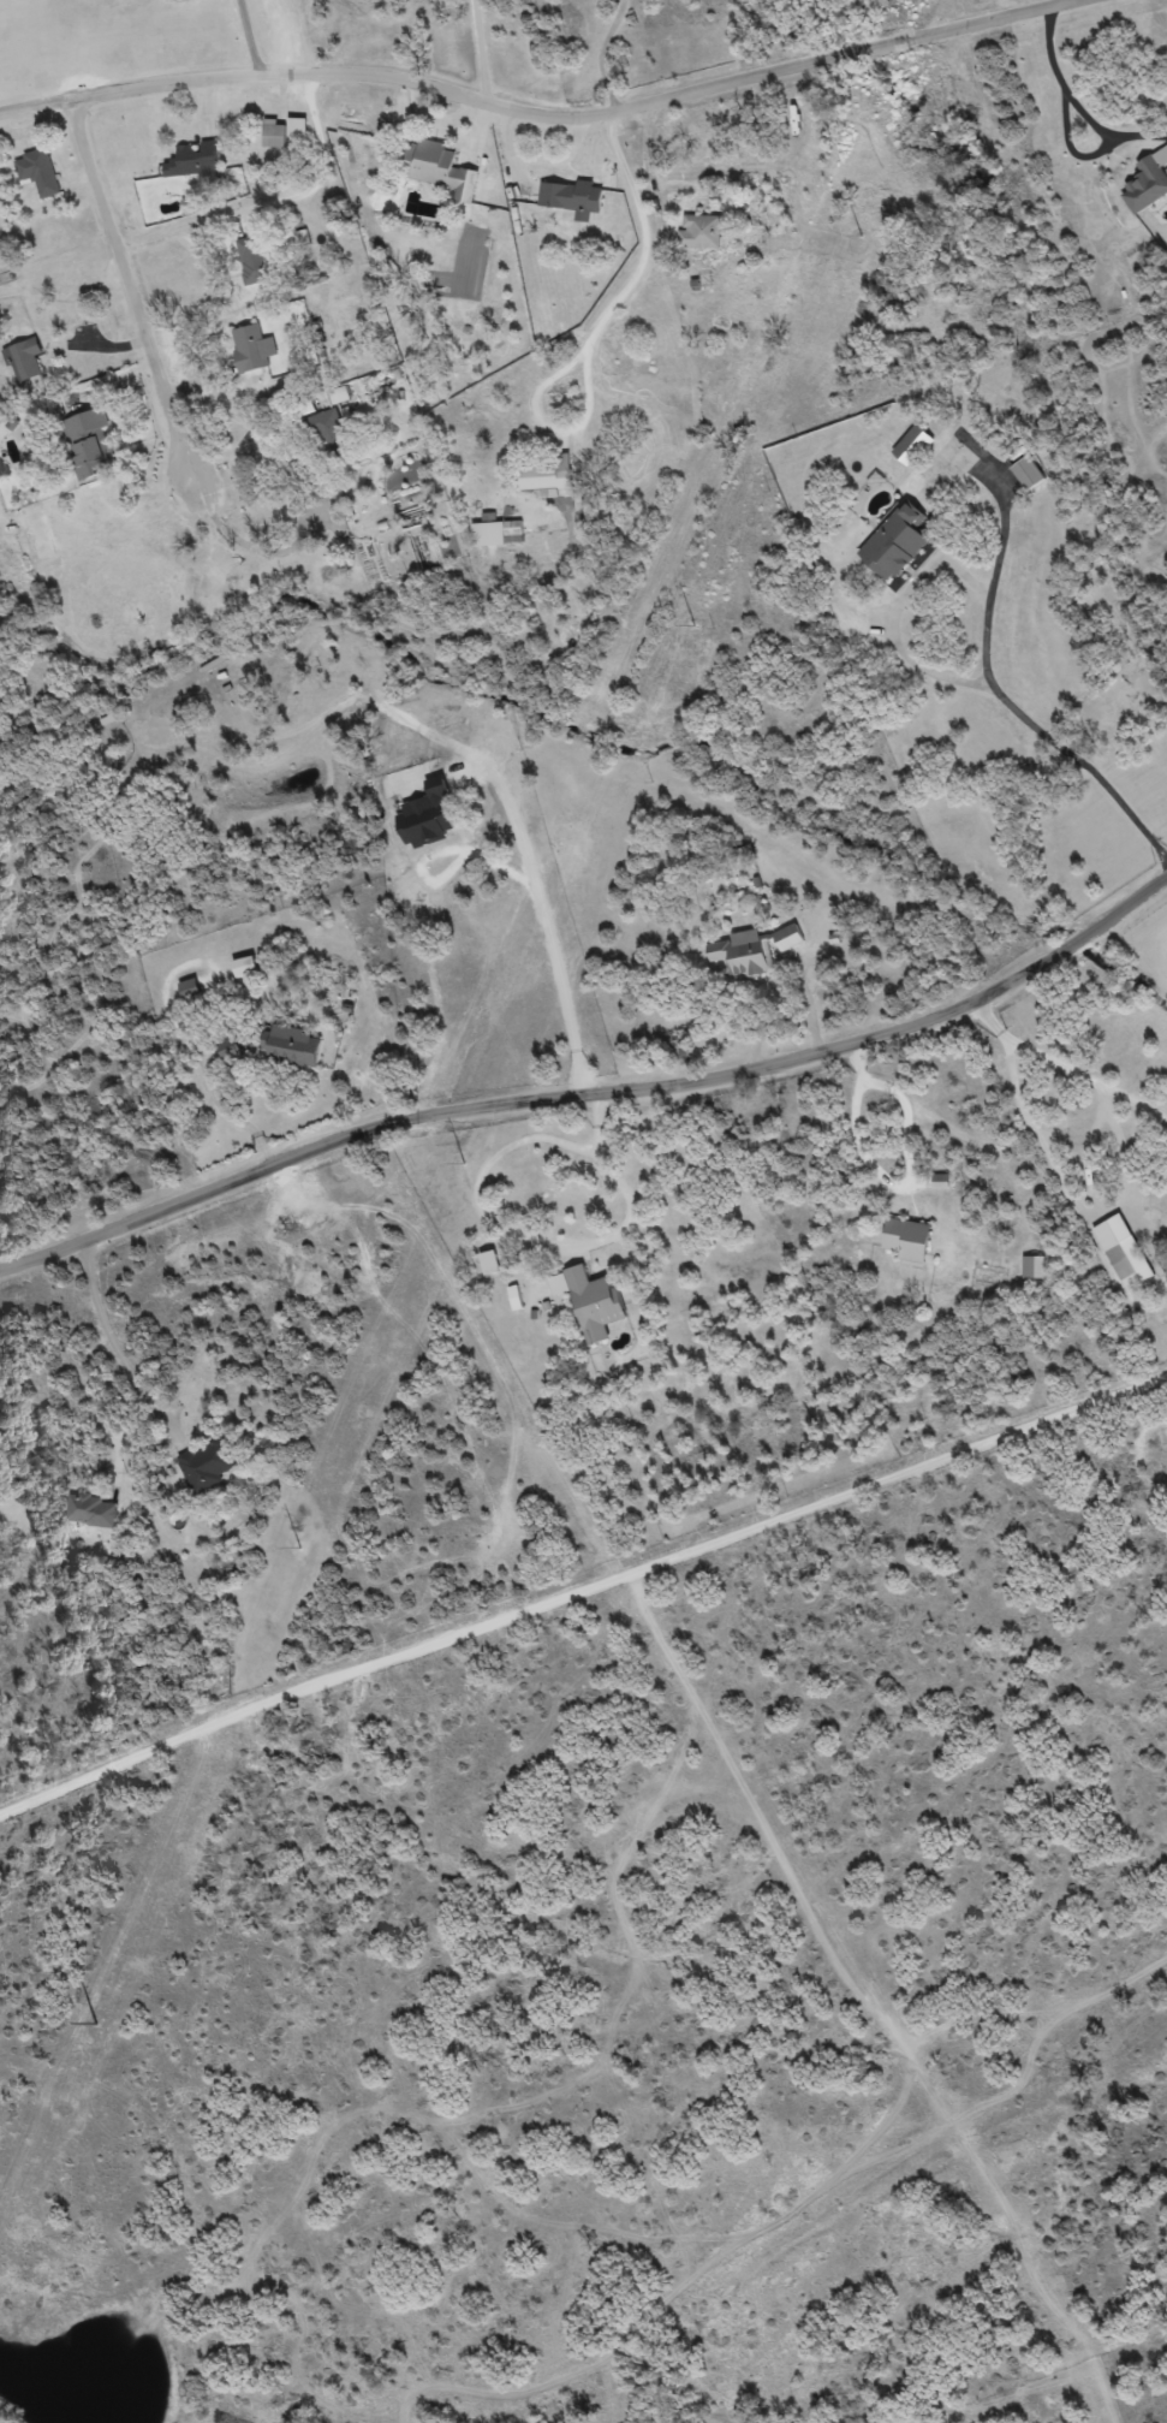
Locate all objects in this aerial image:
road: (261, 34)
road: (534, 107)
building: (274, 136)
building: (197, 164)
building: (439, 170)
building: (38, 172)
building: (1147, 185)
building: (572, 198)
building: (701, 232)
power tower: (859, 236)
building: (255, 261)
road: (139, 286)
road: (603, 328)
building: (252, 349)
building: (24, 360)
building: (328, 435)
building: (90, 445)
building: (915, 446)
building: (1028, 474)
building: (547, 476)
building: (498, 533)
building: (897, 544)
road: (916, 578)
power tower: (692, 625)
road: (1080, 771)
building: (752, 951)
building: (190, 991)
building: (230, 1047)
building: (292, 1047)
road: (593, 1086)
power tower: (463, 1163)
road: (894, 1177)
road: (484, 1216)
building: (909, 1240)
building: (1120, 1263)
building: (1032, 1267)
building: (595, 1303)
building: (207, 1465)
building: (91, 1512)
power tower: (298, 1548)
road: (584, 1581)
power tower: (94, 2023)

